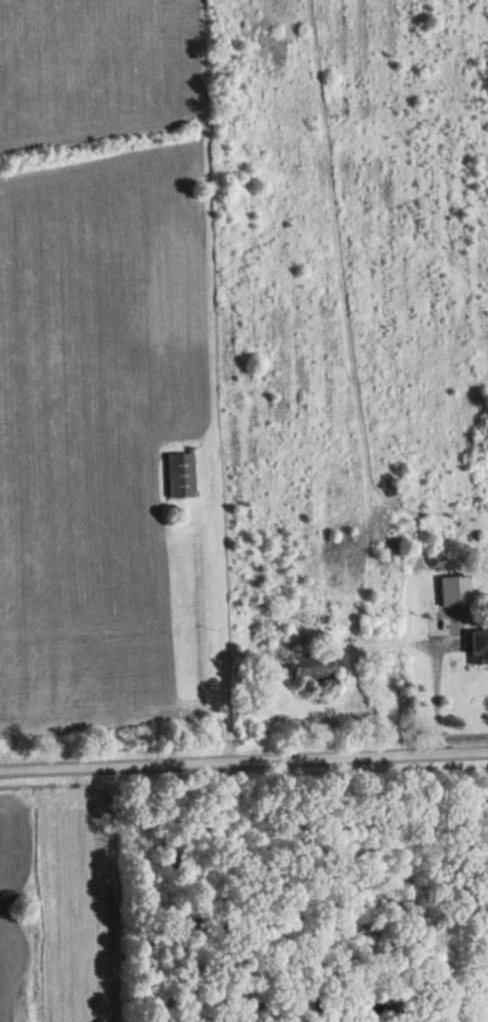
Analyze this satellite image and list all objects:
road: (203, 383)
building: (179, 475)
building: (478, 647)
building: (310, 666)
road: (436, 704)
road: (244, 766)

